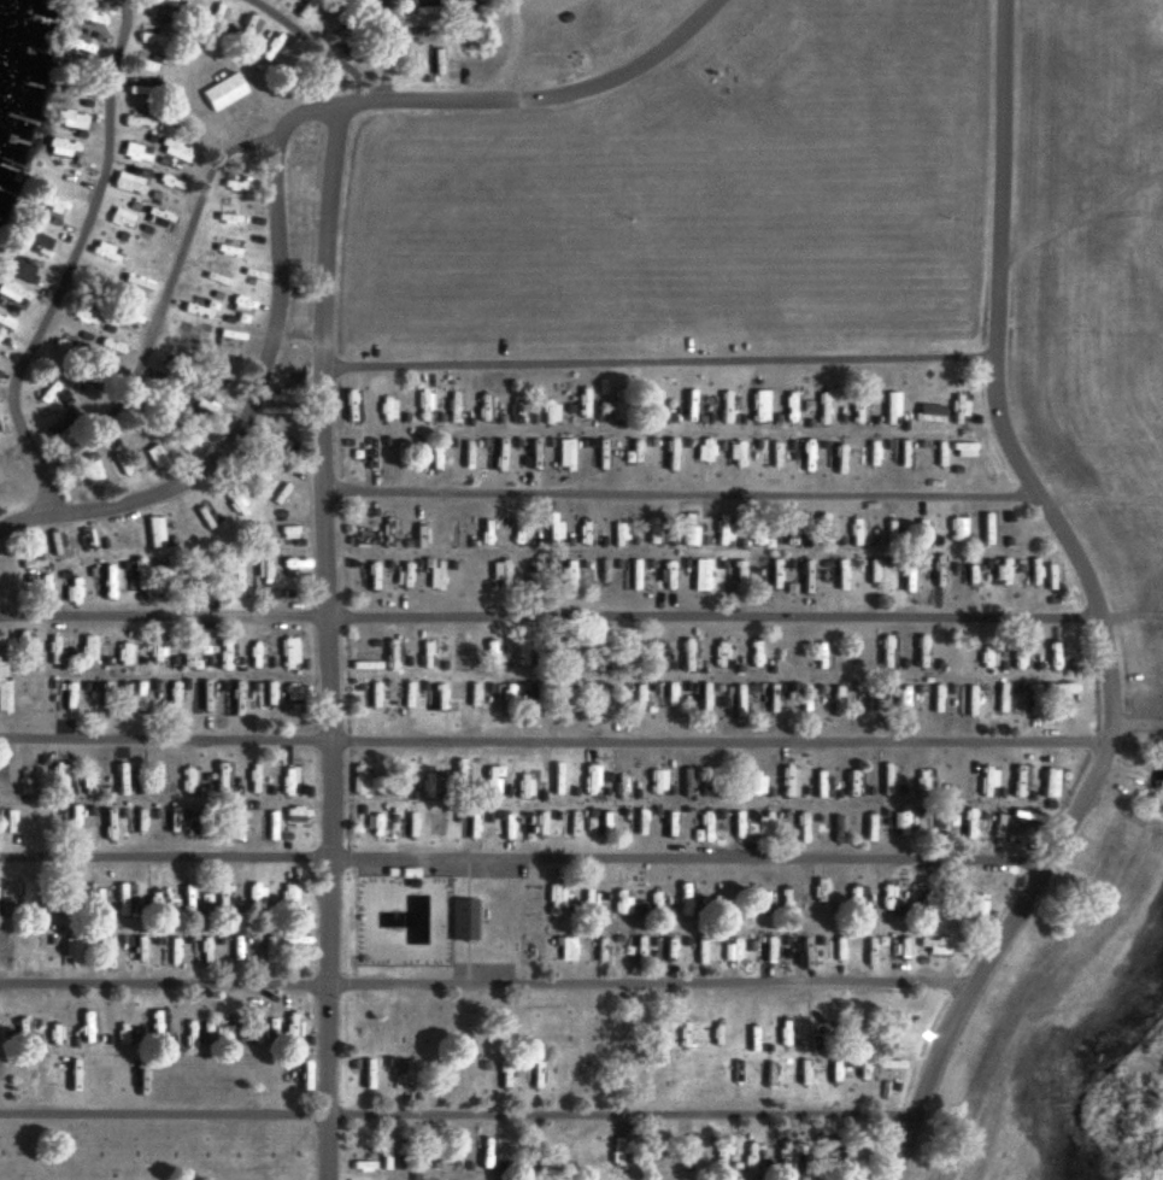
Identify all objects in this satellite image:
building: (422, 11)
building: (86, 19)
building: (219, 22)
building: (252, 27)
building: (423, 35)
building: (146, 39)
road: (318, 43)
building: (72, 45)
road: (383, 49)
road: (511, 58)
building: (435, 61)
building: (728, 75)
building: (133, 87)
building: (221, 92)
road: (541, 98)
building: (67, 119)
building: (134, 121)
building: (57, 148)
building: (175, 151)
building: (124, 183)
building: (49, 206)
building: (224, 218)
building: (34, 243)
road: (66, 262)
building: (14, 271)
building: (11, 292)
road: (161, 299)
building: (183, 337)
road: (296, 337)
building: (107, 348)
road: (658, 360)
building: (217, 368)
road: (258, 378)
building: (45, 392)
building: (278, 395)
building: (194, 401)
building: (583, 401)
building: (653, 404)
building: (425, 405)
building: (889, 406)
building: (619, 407)
building: (820, 407)
building: (351, 409)
building: (388, 409)
building: (456, 409)
building: (853, 409)
building: (927, 412)
building: (961, 447)
building: (700, 448)
building: (804, 453)
building: (732, 454)
building: (500, 457)
building: (766, 457)
building: (153, 458)
building: (835, 458)
building: (89, 472)
road: (677, 492)
road: (1102, 497)
building: (953, 529)
building: (557, 530)
building: (152, 533)
building: (654, 533)
building: (86, 538)
building: (99, 574)
building: (498, 574)
building: (600, 575)
building: (700, 575)
building: (260, 576)
building: (404, 576)
building: (534, 576)
building: (669, 576)
building: (836, 576)
building: (967, 576)
building: (231, 577)
building: (735, 577)
building: (769, 577)
building: (904, 577)
building: (134, 579)
building: (164, 579)
building: (435, 579)
building: (570, 579)
building: (636, 579)
building: (934, 579)
building: (370, 580)
building: (800, 580)
building: (1049, 583)
road: (1094, 606)
road: (550, 615)
road: (1130, 616)
road: (327, 639)
building: (0, 648)
building: (58, 648)
building: (87, 648)
building: (823, 648)
building: (29, 650)
building: (124, 650)
building: (158, 651)
building: (454, 652)
building: (223, 653)
building: (423, 653)
building: (518, 653)
building: (622, 653)
building: (688, 653)
building: (932, 653)
building: (252, 654)
building: (886, 654)
building: (1020, 654)
building: (1052, 656)
building: (657, 657)
building: (982, 657)
building: (595, 658)
building: (286, 659)
building: (64, 688)
building: (293, 692)
building: (265, 693)
building: (7, 694)
building: (369, 695)
building: (204, 697)
building: (468, 697)
building: (638, 697)
building: (998, 697)
building: (137, 698)
building: (665, 698)
building: (705, 698)
building: (1057, 698)
building: (504, 699)
building: (601, 699)
building: (903, 699)
building: (935, 699)
building: (968, 700)
building: (867, 701)
road: (1138, 722)
road: (556, 741)
building: (28, 777)
building: (61, 779)
building: (283, 779)
building: (354, 779)
building: (483, 780)
building: (721, 780)
building: (2, 781)
building: (251, 781)
building: (392, 781)
building: (653, 781)
building: (683, 781)
building: (988, 781)
building: (90, 782)
building: (127, 782)
building: (587, 782)
building: (757, 782)
building: (787, 782)
building: (1017, 782)
building: (1049, 782)
building: (223, 783)
building: (888, 783)
building: (924, 783)
building: (553, 785)
building: (157, 786)
building: (192, 786)
building: (423, 786)
building: (519, 786)
building: (619, 787)
building: (823, 788)
building: (289, 816)
building: (237, 818)
building: (1024, 818)
building: (76, 820)
building: (6, 821)
building: (264, 821)
building: (994, 821)
building: (901, 822)
building: (968, 822)
building: (525, 823)
building: (406, 824)
building: (568, 824)
building: (371, 827)
building: (464, 827)
building: (669, 827)
building: (703, 827)
building: (600, 828)
building: (634, 828)
building: (734, 830)
road: (524, 857)
building: (404, 876)
building: (917, 893)
building: (22, 894)
building: (817, 894)
building: (90, 897)
building: (187, 897)
building: (886, 897)
building: (586, 898)
building: (124, 899)
building: (224, 899)
building: (254, 900)
building: (551, 900)
building: (54, 902)
building: (617, 902)
building: (652, 903)
building: (686, 904)
building: (458, 920)
building: (293, 941)
building: (932, 946)
building: (137, 947)
building: (102, 949)
building: (202, 949)
building: (595, 950)
building: (701, 950)
building: (835, 950)
building: (891, 950)
building: (172, 951)
building: (804, 951)
building: (66, 952)
road: (484, 981)
building: (151, 1029)
building: (251, 1031)
building: (221, 1032)
building: (887, 1037)
building: (295, 1063)
building: (887, 1063)
building: (263, 1074)
building: (364, 1075)
road: (458, 1114)
building: (681, 1156)
building: (586, 1157)
building: (286, 1158)
building: (587, 1179)

